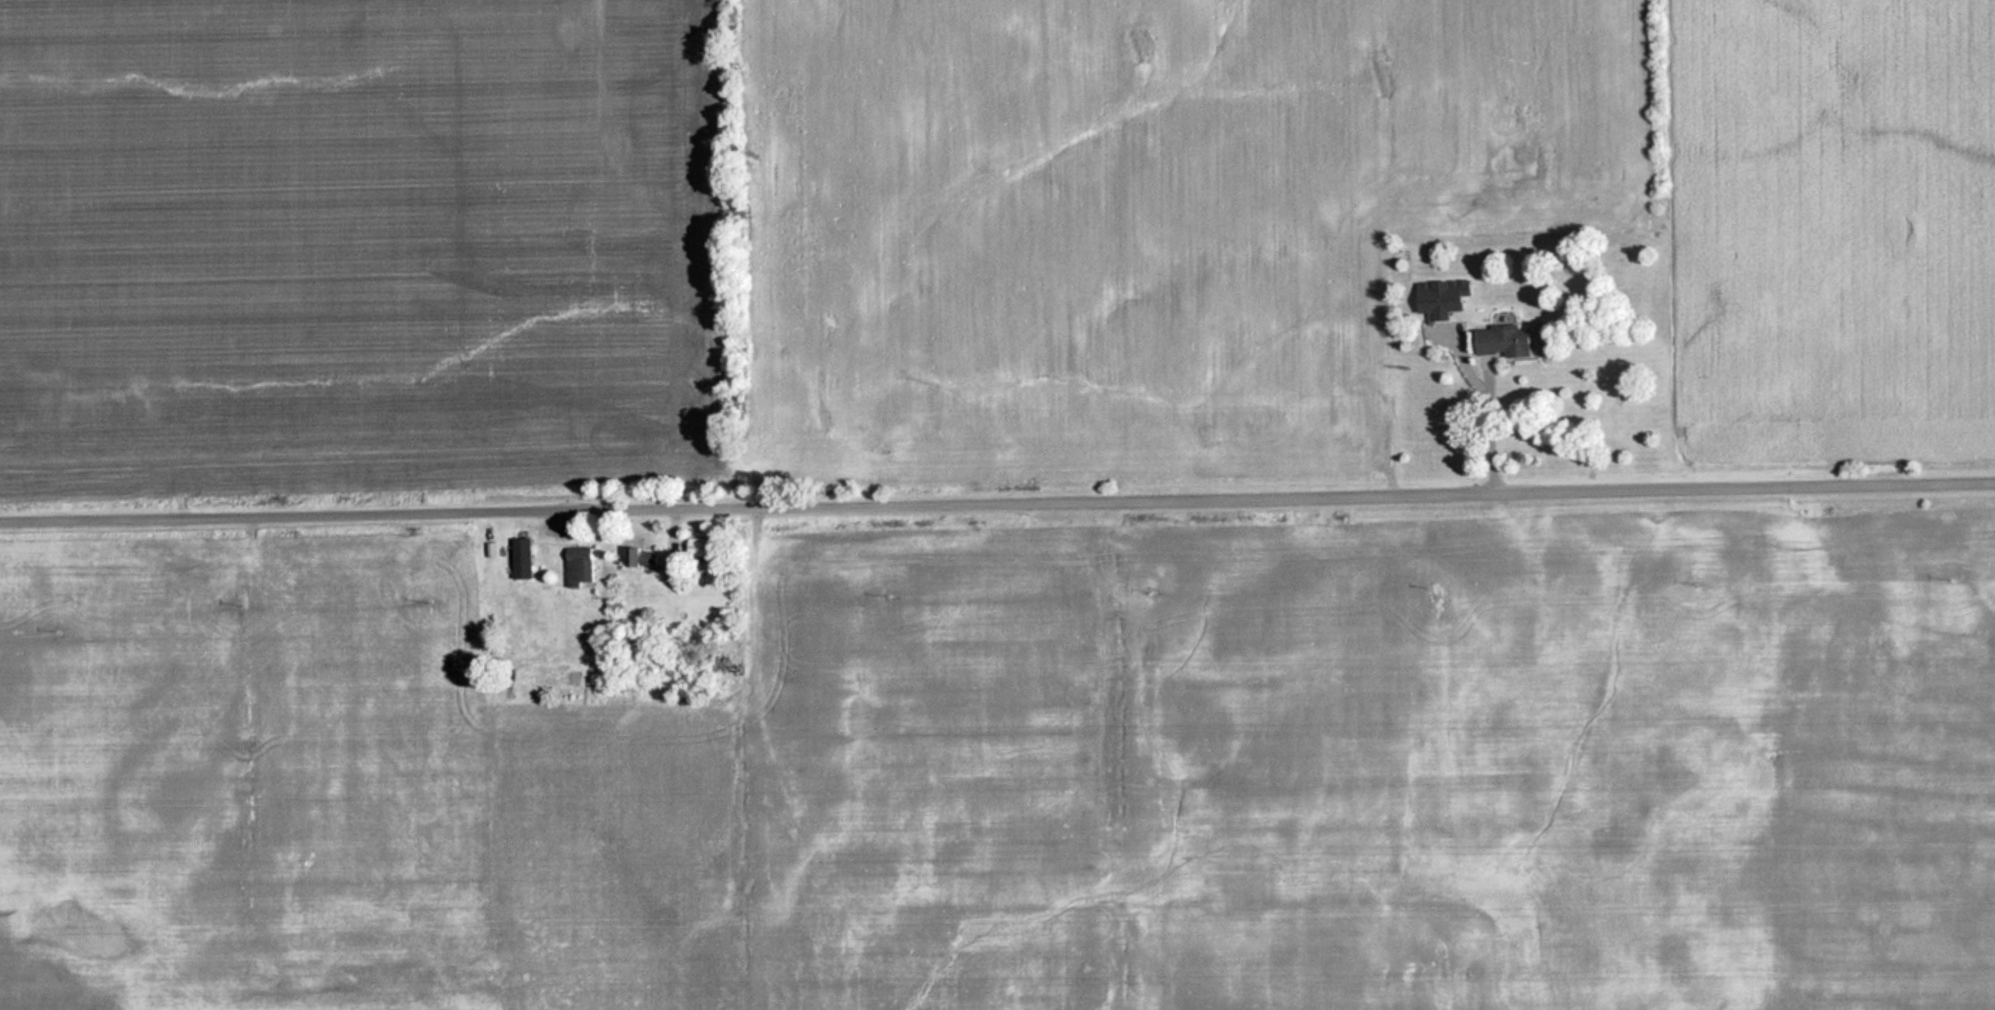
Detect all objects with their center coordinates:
building: (1447, 297)
building: (1508, 341)
road: (997, 490)
building: (701, 546)
building: (646, 555)
building: (524, 557)
building: (581, 565)

